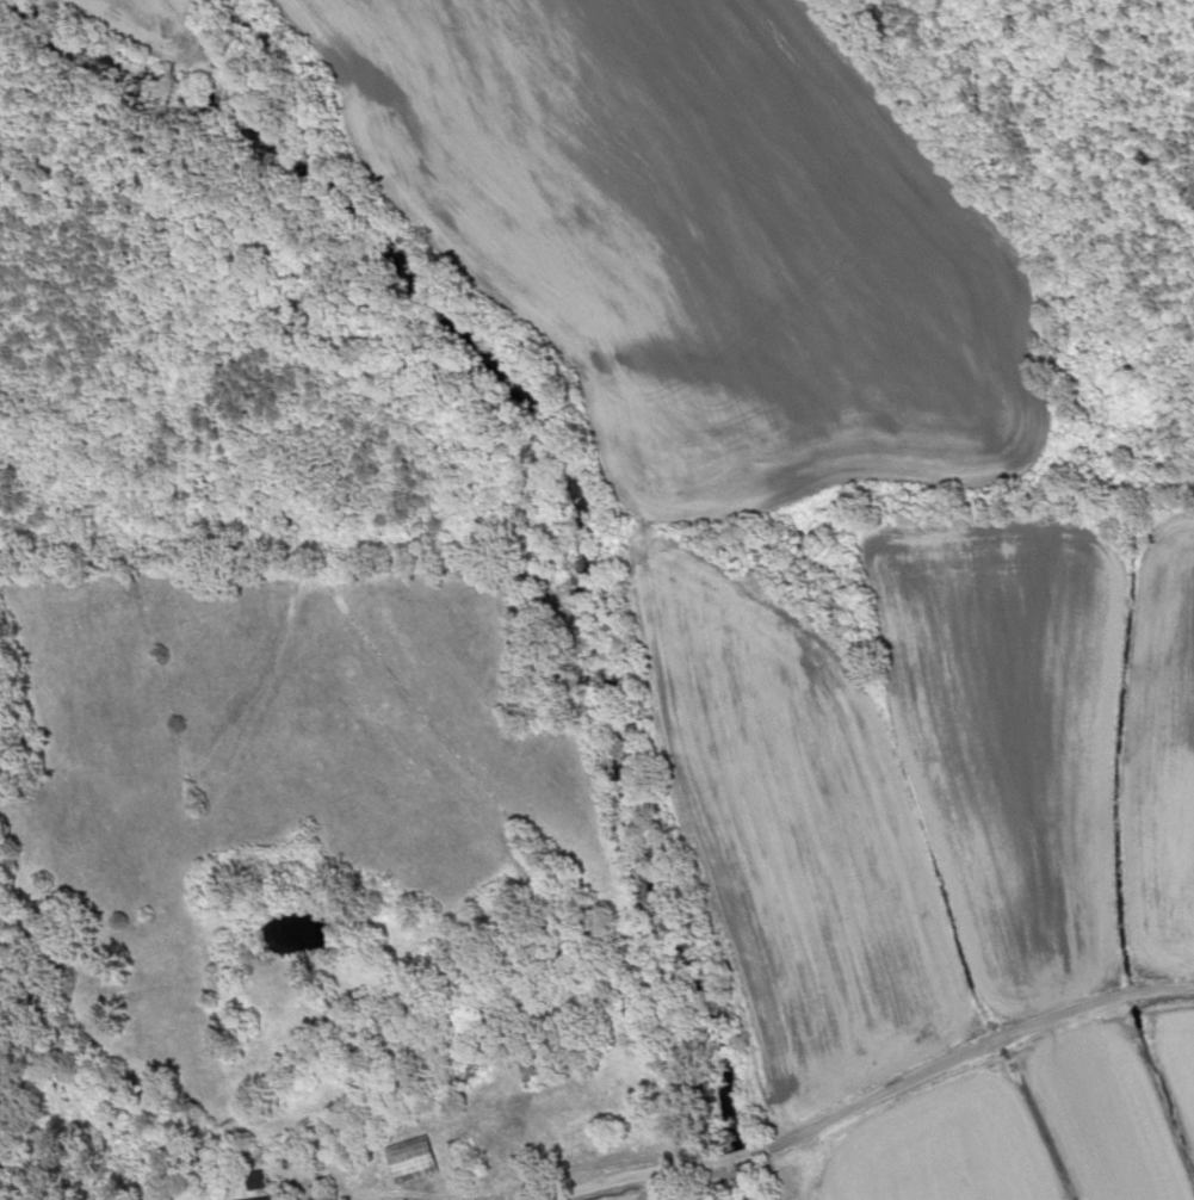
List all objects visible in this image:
building: (525, 1077)
road: (871, 1096)
building: (407, 1161)

